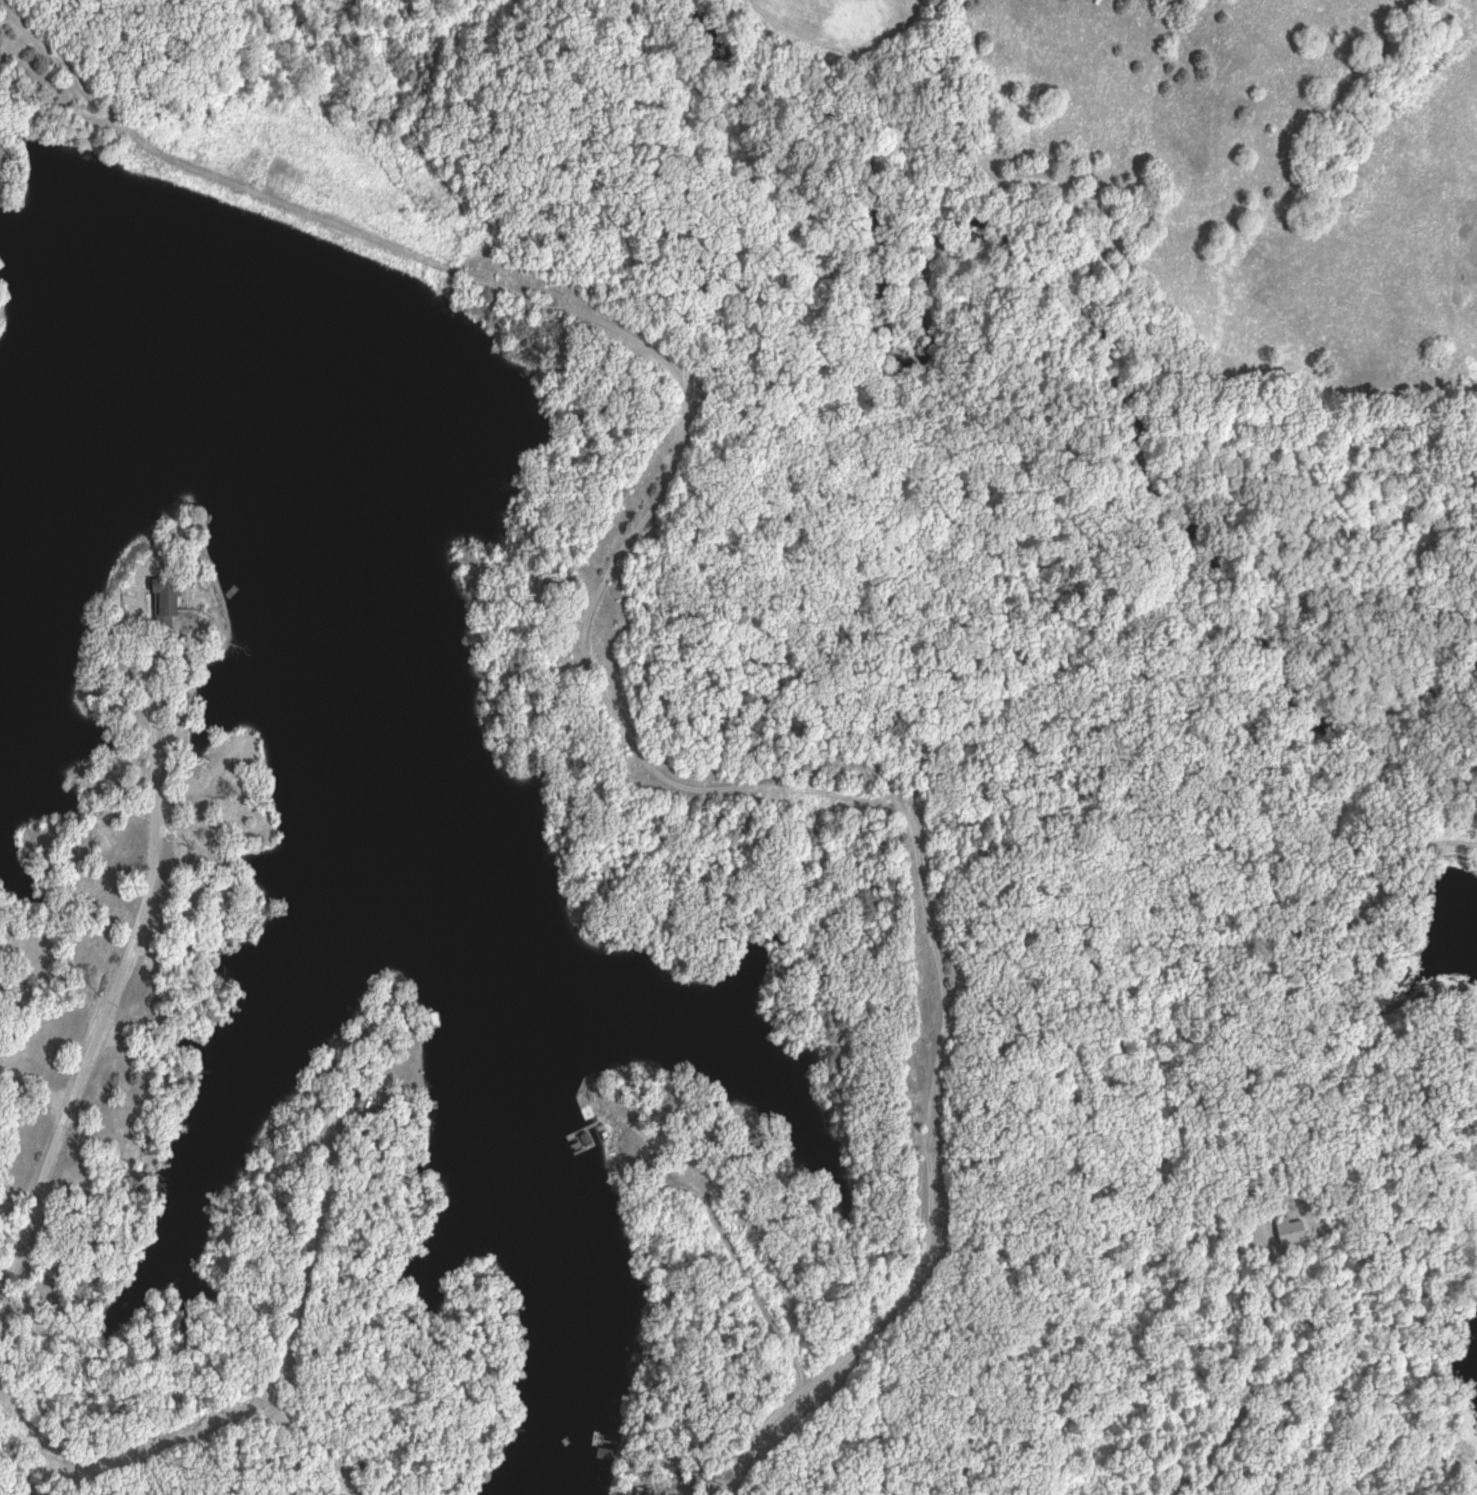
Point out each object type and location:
dam: (311, 254)
building: (4, 264)
building: (167, 597)
road: (603, 696)
road: (118, 983)
building: (433, 1021)
road: (312, 1254)
road: (185, 1433)

